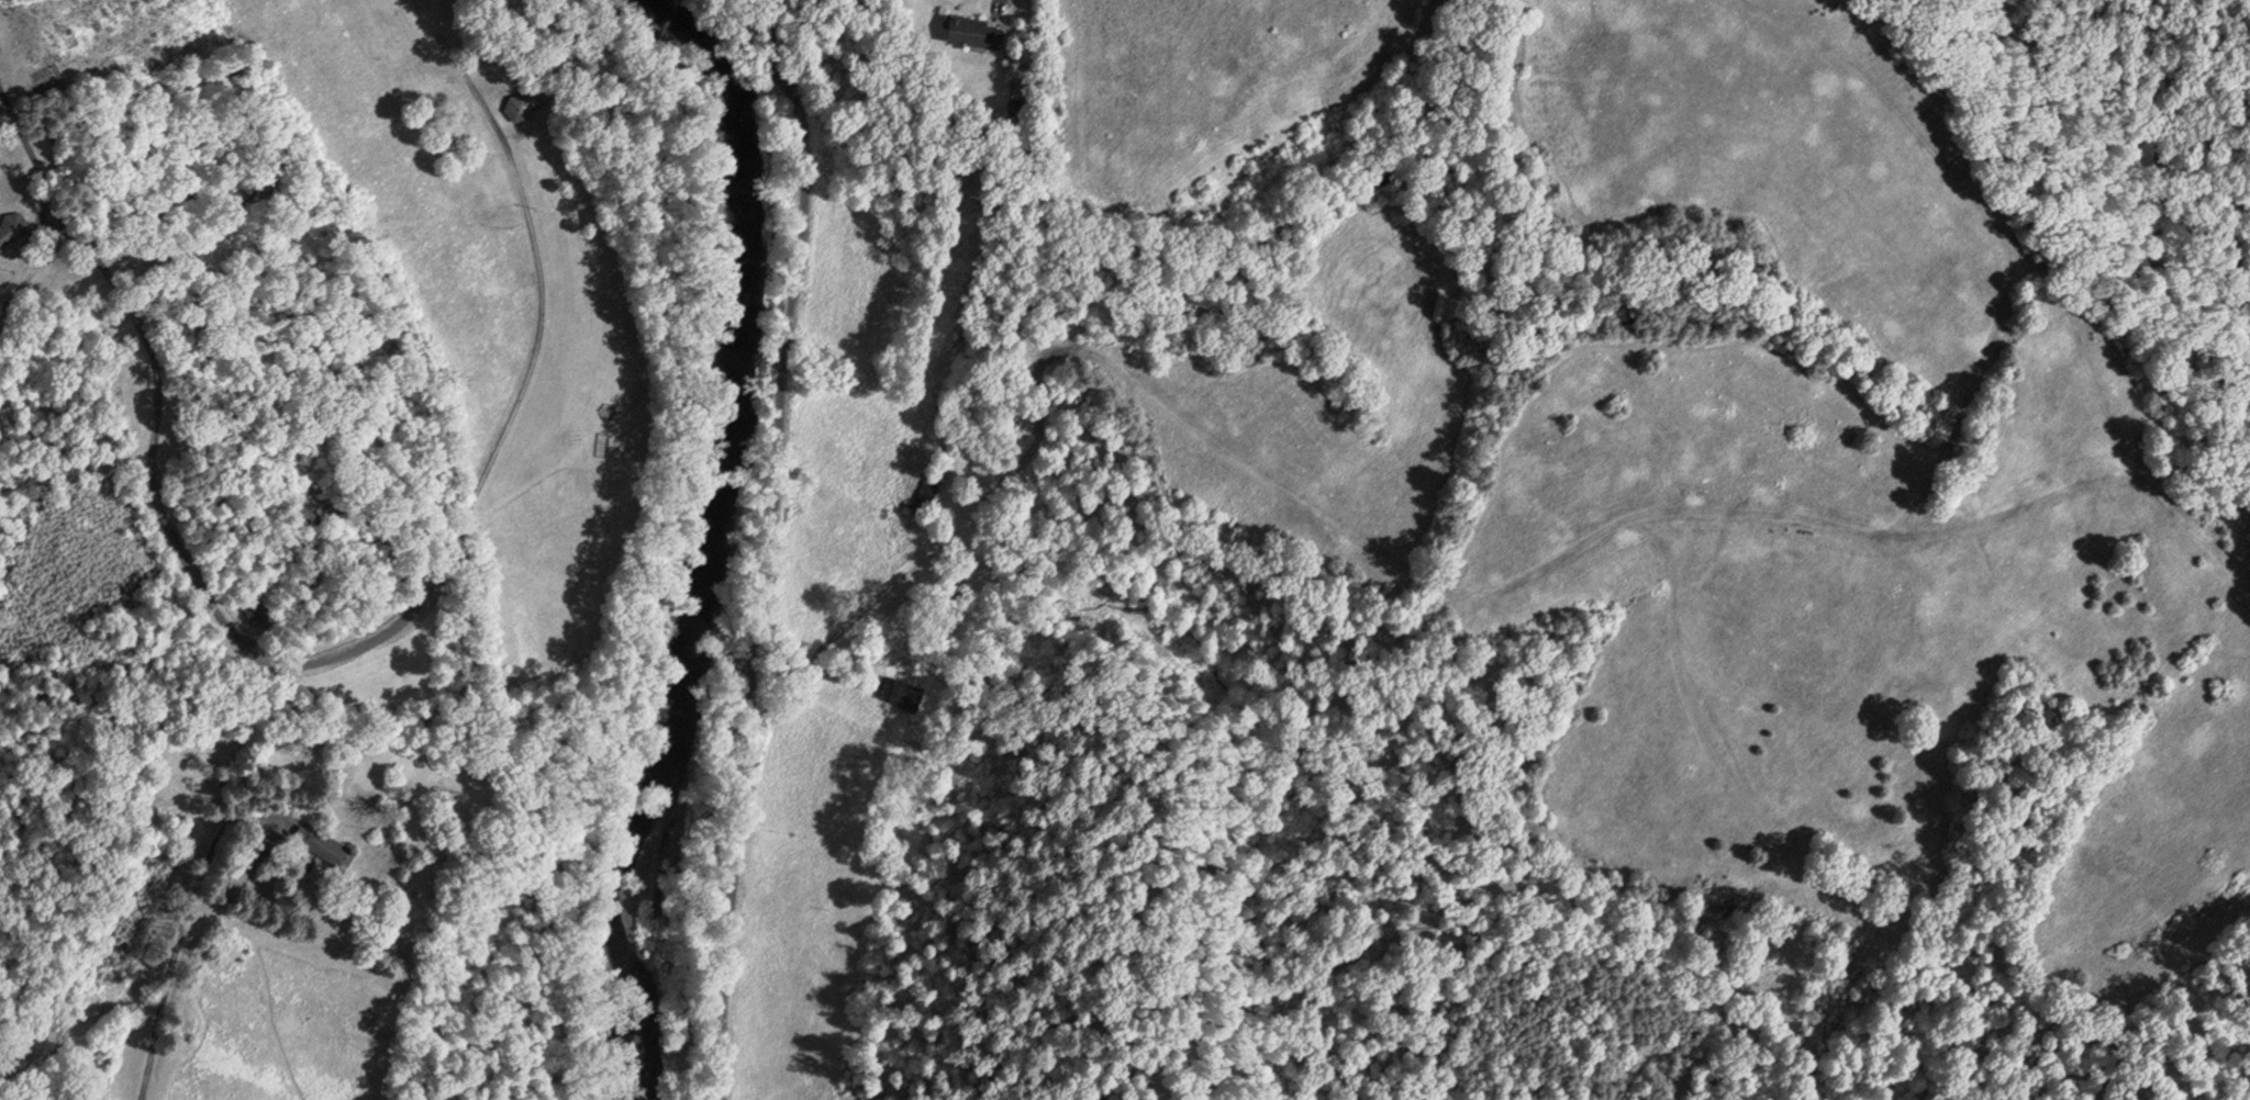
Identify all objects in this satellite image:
building: (972, 30)
building: (524, 101)
building: (11, 226)
building: (0, 248)
road: (155, 374)
road: (502, 429)
building: (929, 479)
river: (701, 532)
road: (767, 546)
road: (1393, 577)
building: (322, 843)

